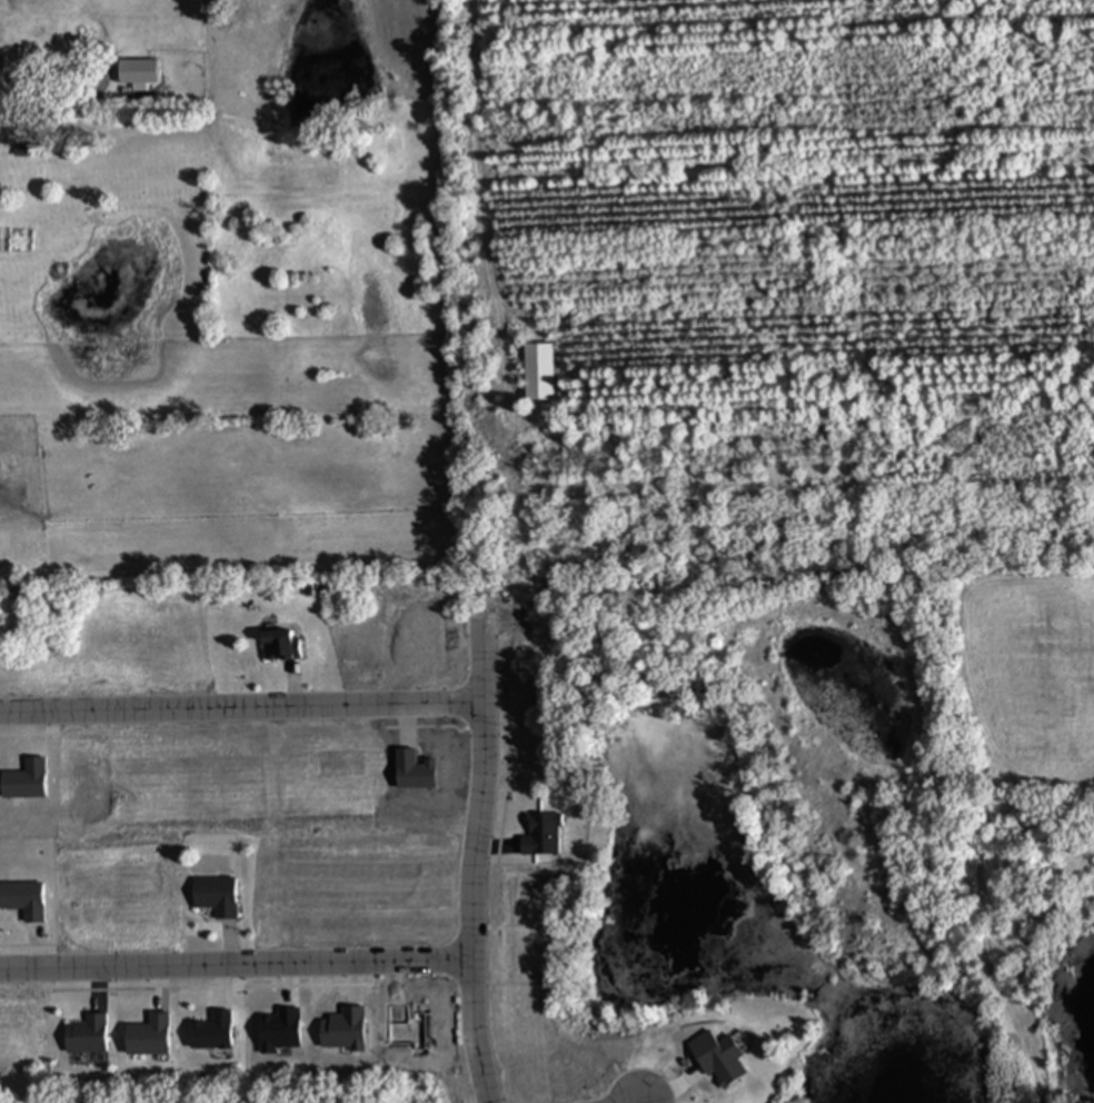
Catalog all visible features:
building: (281, 647)
road: (242, 707)
building: (543, 835)
road: (474, 858)
building: (217, 895)
road: (236, 964)
building: (88, 1035)

